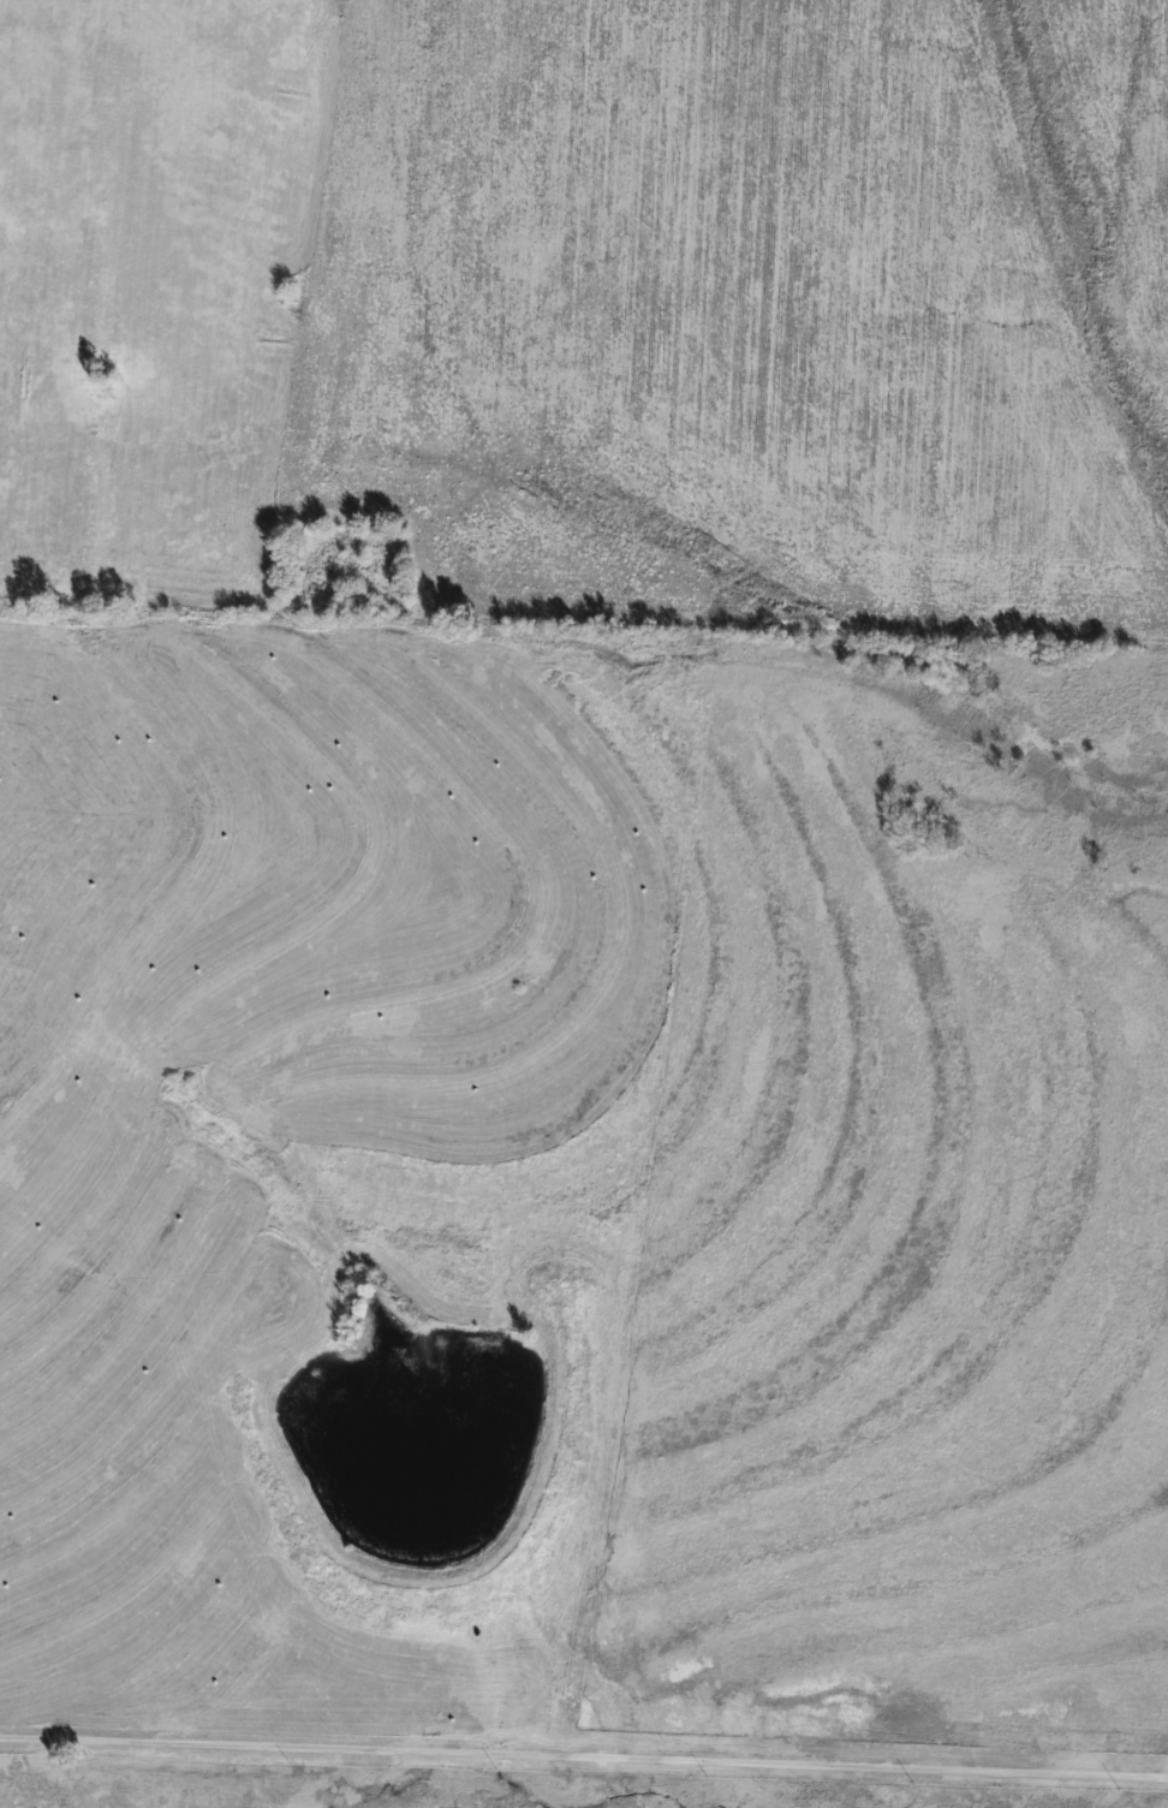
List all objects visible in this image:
road: (583, 1768)

